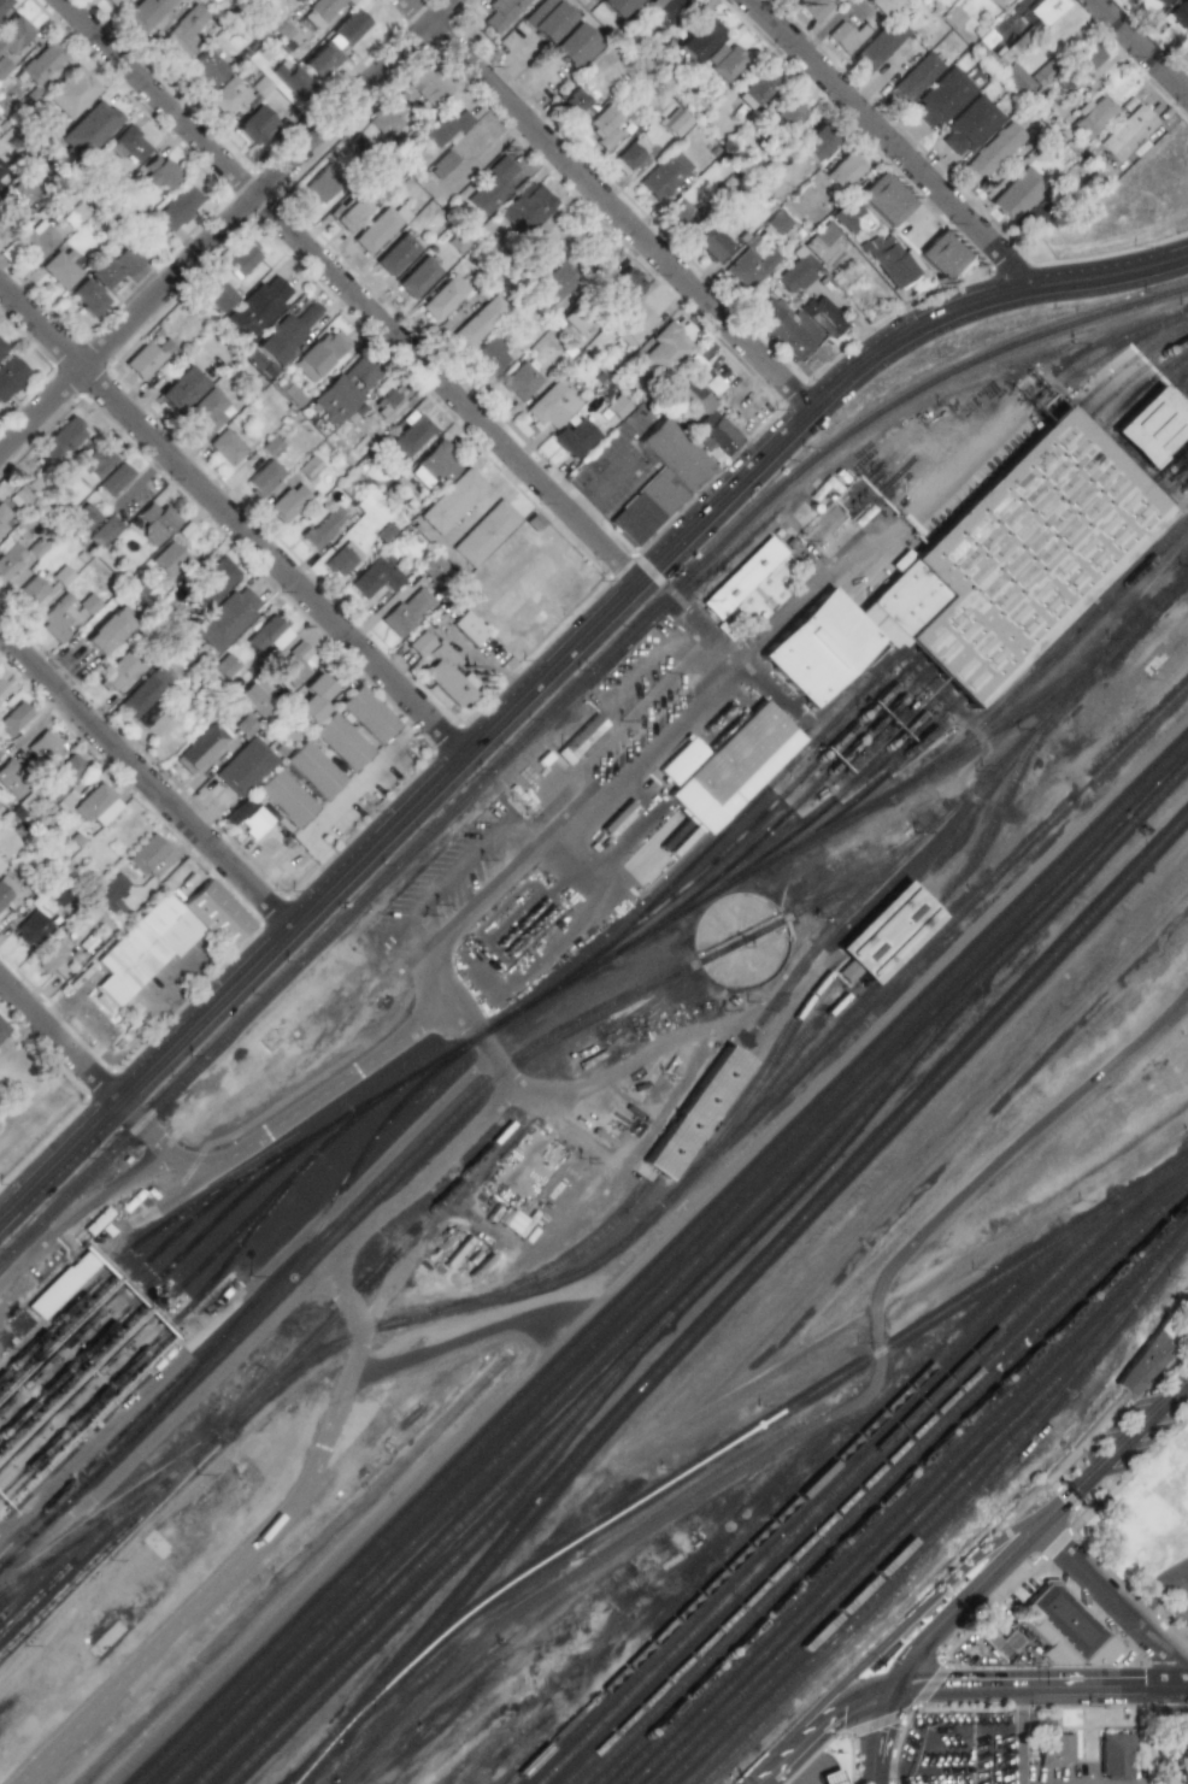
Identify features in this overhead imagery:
building: (293, 0)
building: (114, 2)
building: (995, 2)
building: (1159, 2)
building: (2, 4)
building: (881, 5)
building: (616, 6)
building: (812, 8)
building: (664, 10)
building: (319, 11)
building: (147, 12)
building: (501, 12)
building: (1180, 12)
building: (953, 18)
building: (547, 19)
building: (1035, 23)
building: (349, 27)
building: (183, 33)
building: (13, 34)
building: (1187, 35)
building: (845, 36)
building: (698, 37)
building: (986, 40)
building: (575, 46)
building: (878, 46)
road: (1143, 46)
road: (510, 58)
building: (320, 60)
building: (722, 60)
building: (1084, 60)
building: (41, 63)
building: (2, 65)
building: (207, 67)
building: (1016, 76)
building: (1040, 76)
building: (289, 78)
building: (913, 80)
road: (531, 83)
building: (427, 87)
road: (1186, 87)
building: (71, 92)
building: (754, 92)
building: (228, 95)
building: (942, 98)
building: (577, 104)
building: (786, 114)
building: (1090, 116)
building: (388, 122)
building: (604, 124)
building: (676, 124)
building: (253, 125)
building: (970, 125)
building: (89, 128)
building: (443, 128)
building: (1124, 133)
road: (893, 143)
building: (129, 145)
building: (812, 145)
building: (993, 153)
building: (442, 164)
building: (1, 169)
building: (841, 171)
building: (160, 172)
building: (664, 175)
building: (322, 183)
building: (492, 187)
building: (25, 190)
building: (1016, 195)
building: (883, 199)
road: (610, 205)
building: (178, 207)
building: (527, 207)
building: (349, 211)
building: (681, 211)
building: (847, 216)
building: (1033, 217)
building: (777, 222)
road: (228, 226)
building: (377, 228)
building: (37, 241)
building: (710, 242)
building: (824, 245)
building: (395, 254)
building: (940, 255)
building: (242, 259)
building: (889, 259)
building: (127, 260)
building: (61, 267)
building: (749, 267)
building: (102, 272)
building: (796, 272)
building: (417, 277)
building: (558, 282)
building: (625, 284)
road: (351, 290)
building: (88, 296)
building: (218, 296)
building: (441, 298)
building: (258, 306)
building: (476, 322)
building: (577, 322)
building: (633, 324)
building: (796, 324)
building: (280, 338)
building: (1, 348)
building: (664, 348)
building: (319, 354)
building: (486, 355)
building: (146, 358)
building: (10, 375)
building: (518, 381)
building: (180, 388)
building: (343, 389)
road: (1025, 395)
railway: (1035, 401)
building: (386, 405)
building: (549, 406)
building: (205, 413)
building: (706, 423)
building: (1154, 425)
railway: (1154, 425)
railway: (1054, 430)
building: (406, 436)
building: (572, 437)
building: (61, 440)
railway: (1061, 444)
building: (224, 447)
building: (674, 454)
railway: (1070, 461)
building: (92, 465)
building: (434, 466)
building: (307, 467)
building: (263, 478)
building: (114, 479)
building: (18, 497)
building: (452, 501)
building: (287, 502)
building: (646, 507)
building: (83, 518)
road: (233, 518)
building: (4, 519)
building: (155, 522)
building: (319, 530)
building: (102, 531)
building: (483, 532)
building: (35, 548)
building: (1022, 557)
building: (167, 559)
building: (341, 559)
building: (10, 560)
building: (430, 567)
building: (60, 576)
building: (741, 577)
building: (374, 578)
railway: (1186, 582)
building: (210, 583)
building: (29, 591)
road: (794, 608)
building: (406, 611)
building: (55, 618)
building: (225, 618)
building: (466, 628)
building: (106, 631)
building: (267, 635)
building: (417, 642)
railway: (622, 643)
railway: (911, 647)
building: (224, 666)
building: (290, 666)
road: (552, 669)
building: (116, 672)
road: (725, 673)
building: (908, 675)
railway: (987, 675)
building: (448, 679)
railway: (916, 687)
railway: (949, 687)
building: (2, 691)
railway: (882, 696)
building: (142, 697)
building: (312, 697)
road: (698, 697)
building: (254, 700)
railway: (1041, 702)
building: (367, 714)
building: (13, 718)
building: (243, 726)
building: (580, 738)
building: (340, 741)
building: (43, 748)
building: (200, 748)
railway: (929, 759)
building: (681, 760)
building: (243, 766)
building: (733, 767)
building: (312, 770)
building: (11, 779)
building: (59, 781)
road: (145, 781)
road: (1012, 790)
road: (571, 793)
road: (348, 795)
building: (284, 797)
building: (95, 805)
building: (248, 817)
road: (496, 829)
building: (5, 843)
building: (146, 854)
building: (0, 864)
building: (5, 889)
building: (111, 890)
railway: (847, 890)
building: (54, 894)
building: (216, 913)
railway: (787, 924)
building: (29, 929)
railway: (914, 929)
railway: (874, 930)
building: (892, 932)
building: (142, 947)
building: (47, 956)
railway: (590, 960)
railway: (789, 982)
road: (119, 1005)
building: (2, 1029)
road: (59, 1041)
railway: (424, 1079)
road: (593, 1083)
road: (318, 1095)
building: (699, 1113)
railway: (753, 1118)
road: (147, 1130)
railway: (302, 1146)
railway: (317, 1152)
road: (1000, 1166)
railway: (253, 1173)
railway: (71, 1195)
railway: (206, 1199)
railway: (88, 1200)
railway: (251, 1219)
building: (513, 1221)
railway: (347, 1226)
railway: (664, 1262)
railway: (682, 1277)
building: (60, 1285)
railway: (734, 1291)
railway: (69, 1309)
building: (1187, 1315)
railway: (84, 1325)
railway: (104, 1333)
railway: (206, 1359)
building: (1146, 1362)
railway: (100, 1368)
railway: (266, 1388)
railway: (595, 1390)
railway: (92, 1403)
road: (330, 1415)
railway: (139, 1417)
railway: (763, 1425)
road: (1117, 1461)
railway: (859, 1468)
railway: (874, 1478)
railway: (884, 1484)
railway: (893, 1492)
railway: (806, 1494)
railway: (902, 1501)
railway: (911, 1508)
railway: (958, 1520)
railway: (110, 1521)
railway: (895, 1542)
railway: (448, 1565)
railway: (67, 1568)
railway: (40, 1579)
railway: (868, 1586)
road: (1154, 1590)
railway: (13, 1591)
road: (1177, 1592)
road: (964, 1605)
road: (1118, 1606)
road: (906, 1617)
building: (1063, 1629)
railway: (830, 1642)
building: (996, 1642)
traffic signals: (917, 1654)
traffic signals: (949, 1688)
road: (1040, 1688)
road: (841, 1713)
traffic signals: (837, 1715)
road: (881, 1736)
road: (1024, 1736)
road: (1176, 1736)
traffic signals: (881, 1738)
building: (1054, 1749)
building: (1117, 1755)
road: (831, 1764)
road: (775, 1765)
road: (799, 1767)
building: (830, 1777)

